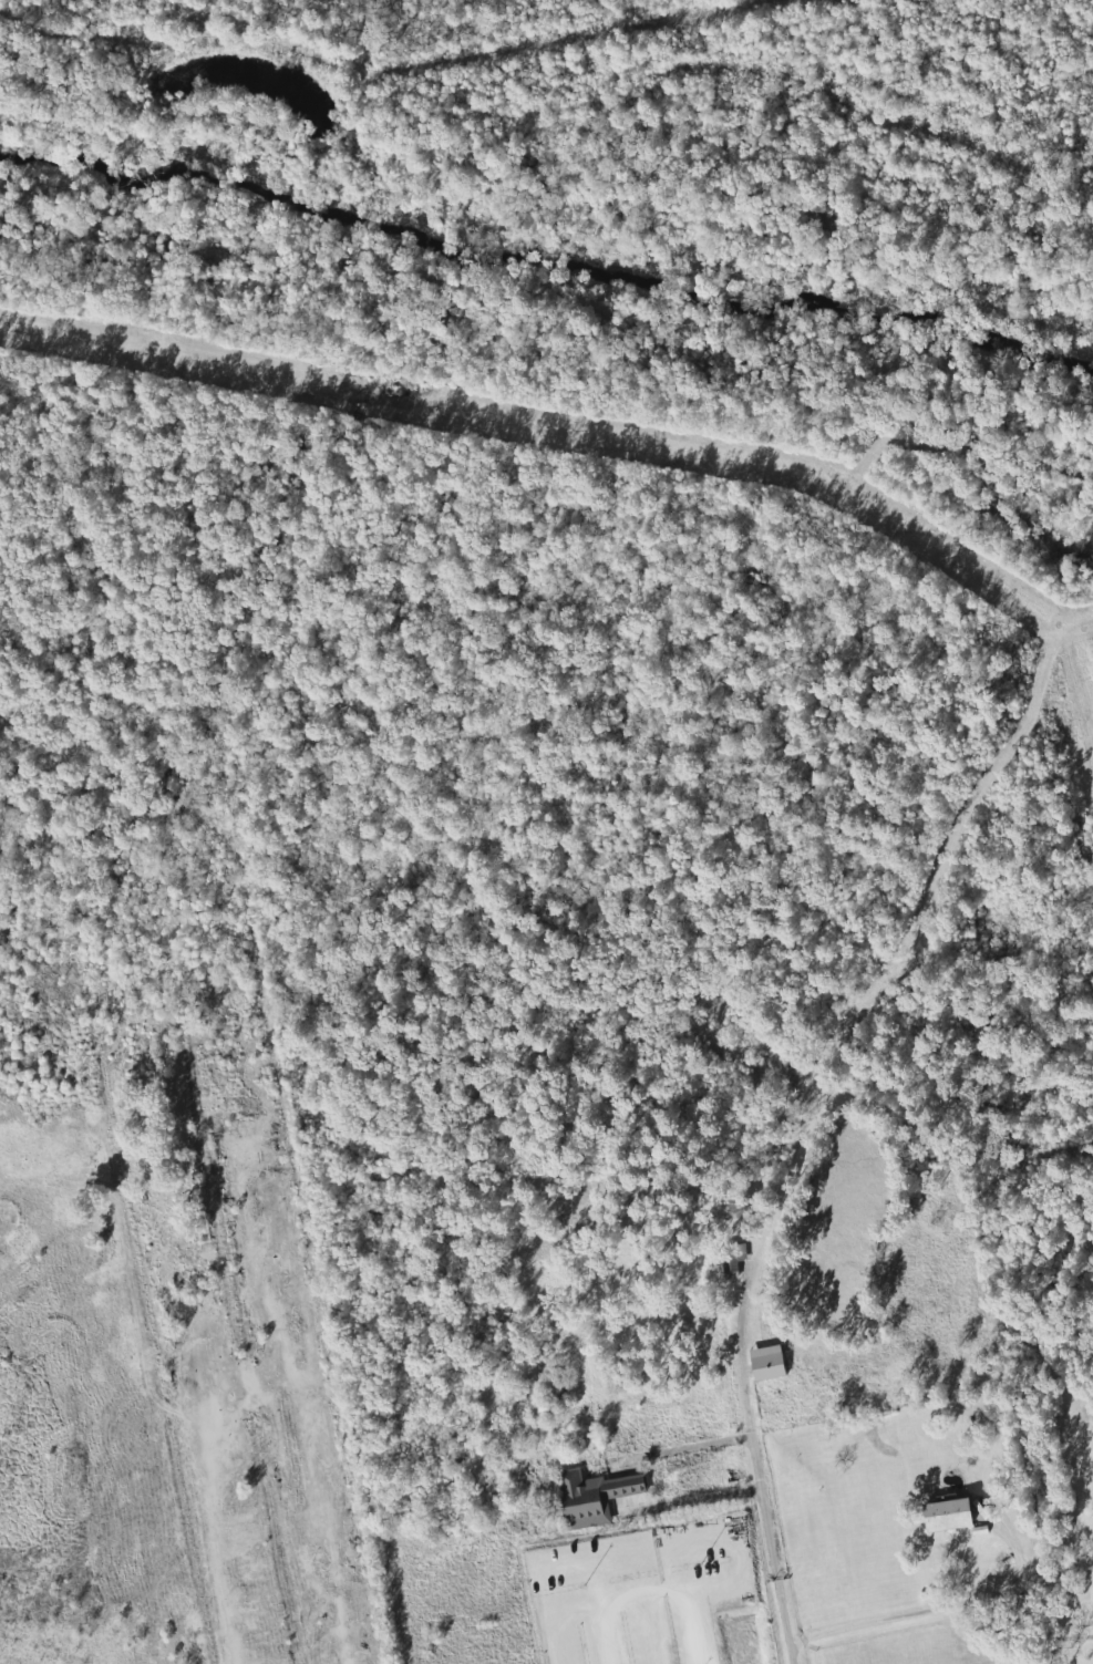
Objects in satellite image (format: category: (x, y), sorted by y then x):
building: (766, 1363)
road: (646, 1490)
road: (773, 1492)
building: (591, 1497)
building: (947, 1516)
road: (883, 1621)
road: (600, 1639)

